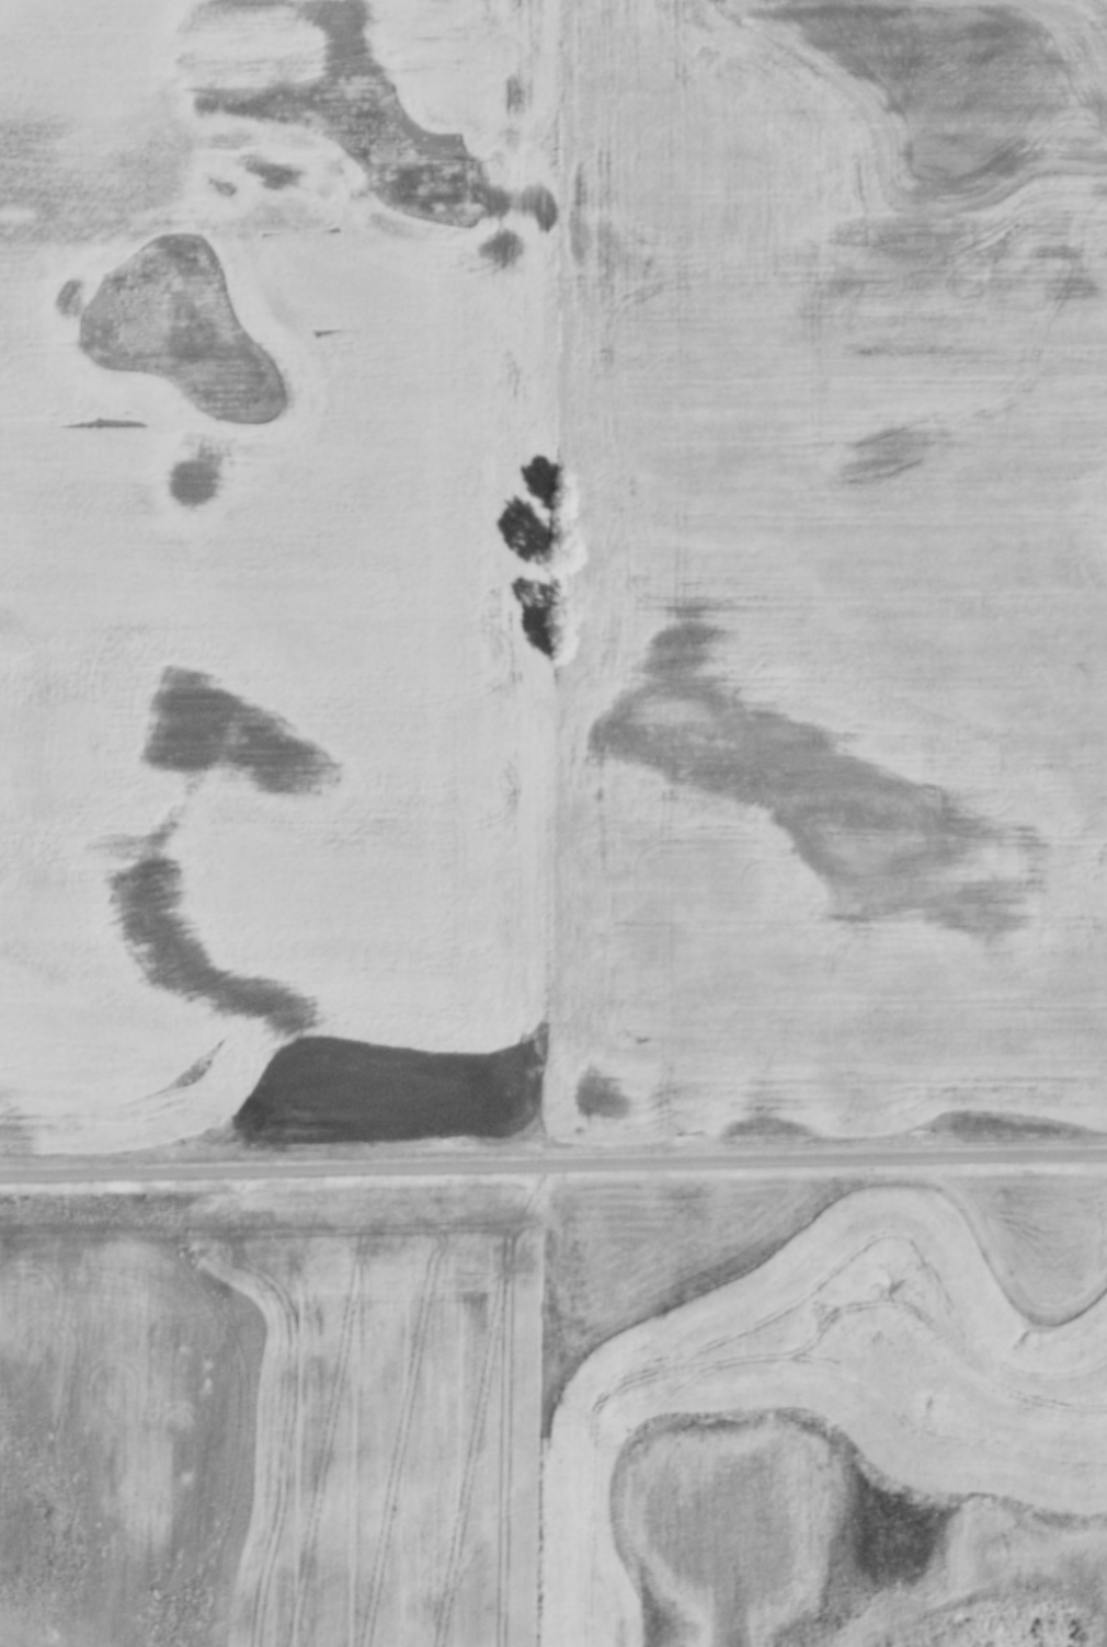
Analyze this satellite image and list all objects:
road: (552, 1168)

